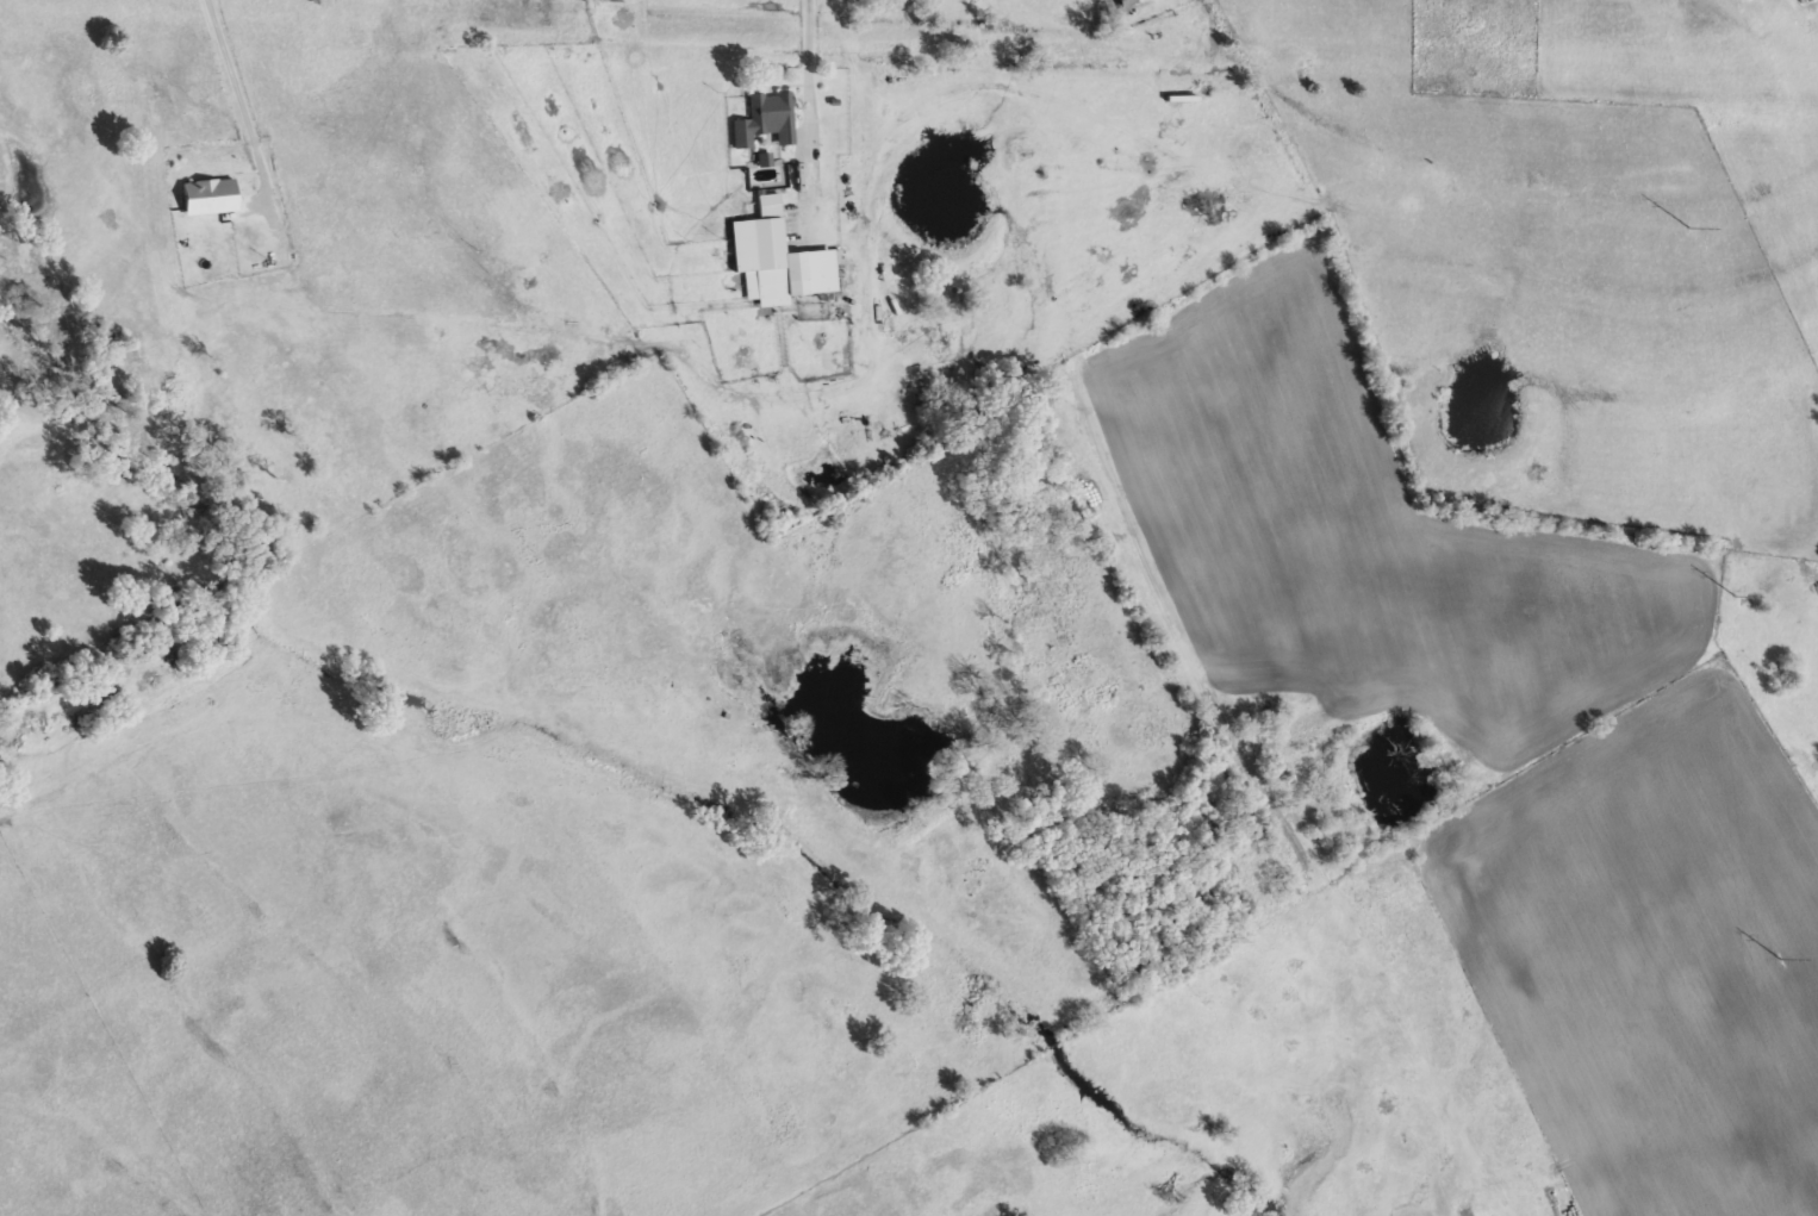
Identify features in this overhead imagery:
building: (1121, 0)
railway: (1184, 33)
road: (807, 71)
building: (760, 117)
power tower: (1686, 229)
building: (772, 252)
building: (1816, 587)
power tower: (1733, 595)
power tower: (1779, 958)

